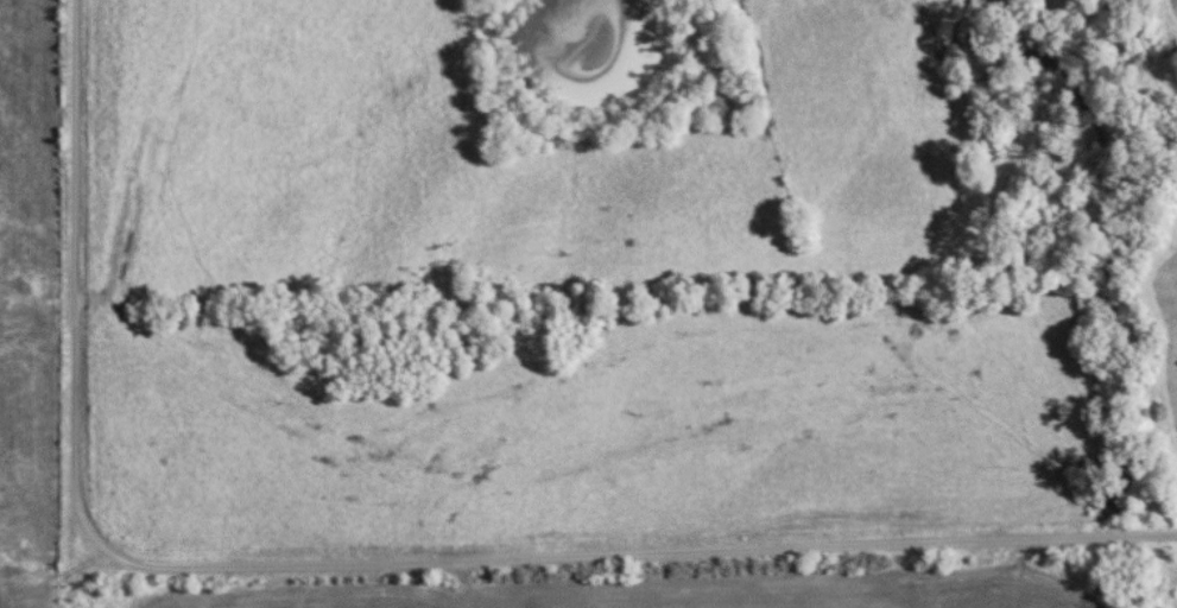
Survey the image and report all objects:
road: (362, 562)

